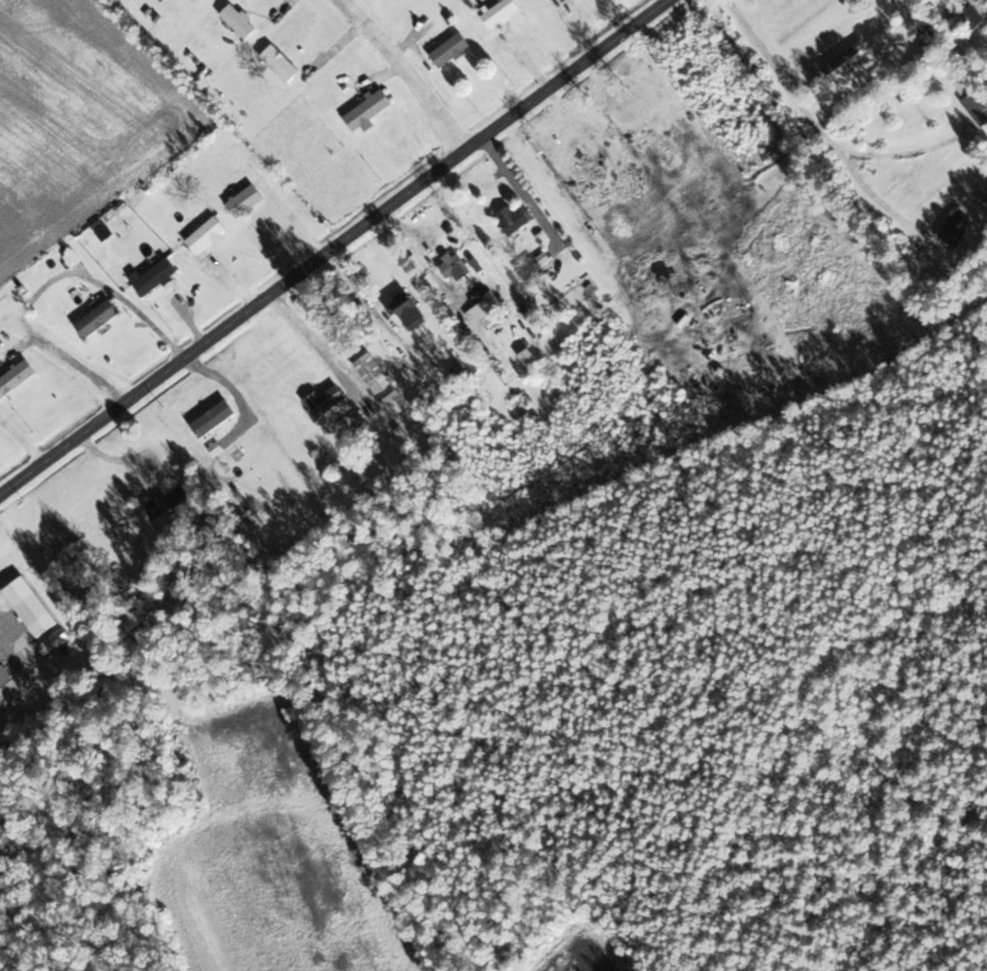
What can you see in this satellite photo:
building: (503, 12)
building: (241, 20)
building: (933, 35)
building: (454, 49)
building: (848, 57)
building: (283, 62)
road: (401, 73)
building: (964, 76)
building: (980, 104)
building: (372, 111)
road: (818, 125)
road: (906, 153)
road: (516, 181)
building: (984, 191)
building: (248, 199)
building: (519, 219)
building: (209, 233)
road: (330, 243)
building: (458, 264)
building: (535, 269)
building: (158, 275)
building: (433, 275)
road: (39, 282)
building: (412, 309)
building: (100, 317)
building: (17, 378)
building: (386, 383)
building: (334, 404)
building: (172, 501)
building: (32, 599)
building: (58, 640)

